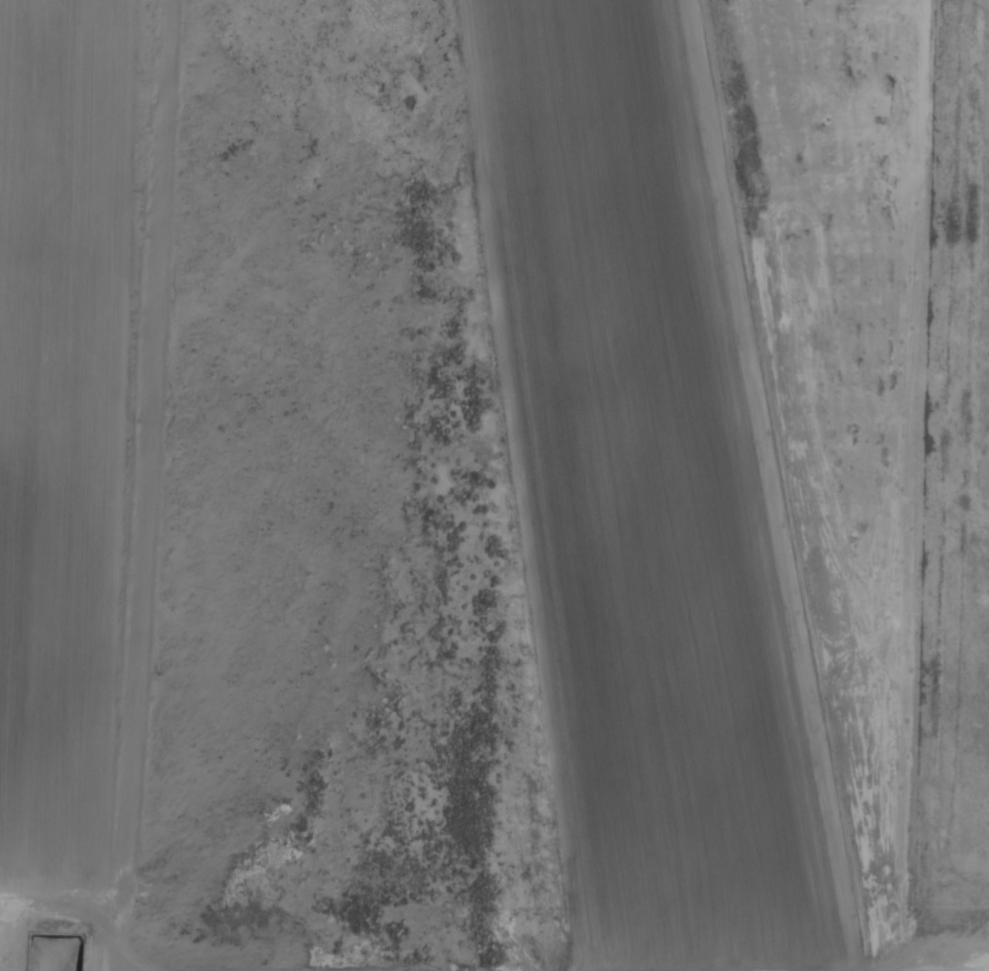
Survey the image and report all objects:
landfill: (57, 437)
landfill: (639, 503)

